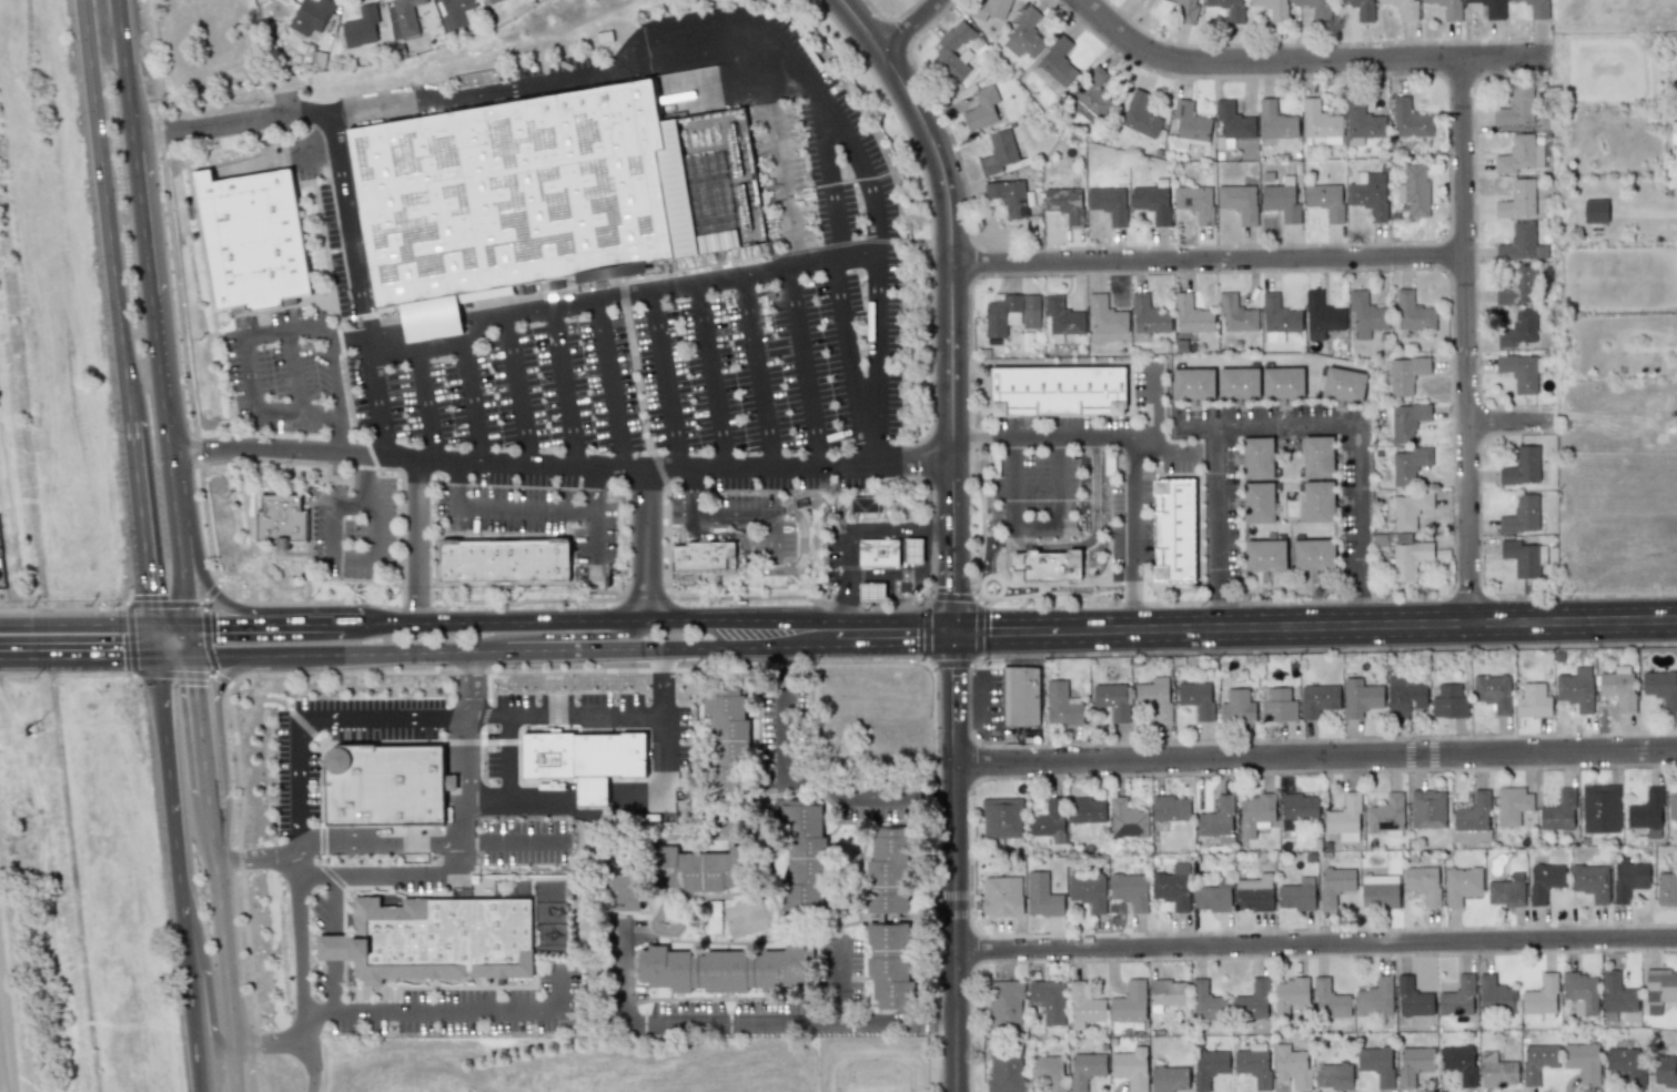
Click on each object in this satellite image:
building: (1135, 0)
building: (487, 1)
building: (1315, 8)
building: (1360, 8)
building: (1447, 8)
building: (1491, 8)
building: (1535, 8)
building: (989, 9)
building: (1229, 9)
building: (1404, 9)
building: (1186, 10)
building: (1273, 10)
building: (453, 12)
building: (311, 16)
building: (403, 17)
road: (911, 26)
building: (360, 28)
road: (119, 32)
building: (1023, 34)
building: (952, 51)
building: (1057, 61)
road: (1307, 61)
road: (448, 93)
building: (1090, 97)
road: (127, 99)
building: (1516, 107)
building: (981, 108)
building: (1139, 114)
building: (1410, 120)
building: (1190, 121)
building: (1233, 121)
building: (1275, 121)
building: (1363, 123)
building: (1320, 124)
road: (848, 133)
building: (1674, 135)
building: (999, 152)
building: (1519, 154)
road: (782, 155)
road: (832, 170)
building: (511, 188)
building: (1414, 190)
building: (1368, 194)
building: (1008, 196)
building: (1195, 198)
building: (1325, 200)
building: (1517, 200)
building: (1280, 201)
building: (1151, 202)
building: (1239, 202)
building: (1108, 203)
building: (1064, 204)
road: (929, 209)
building: (1595, 211)
road: (140, 213)
road: (350, 229)
building: (250, 233)
road: (1474, 239)
building: (1521, 243)
road: (1208, 261)
road: (693, 269)
building: (1517, 286)
road: (115, 295)
road: (282, 301)
road: (620, 301)
building: (1030, 311)
building: (1412, 312)
building: (1235, 314)
building: (1364, 314)
building: (1001, 315)
building: (1105, 315)
building: (1148, 315)
building: (1191, 315)
building: (1321, 315)
building: (1061, 316)
road: (336, 327)
building: (1517, 328)
road: (877, 334)
road: (1466, 340)
parking lot: (693, 350)
road: (849, 364)
parking lot: (281, 367)
road: (804, 368)
road: (758, 372)
building: (1519, 372)
building: (1405, 374)
road: (296, 375)
road: (709, 377)
road: (665, 381)
building: (1193, 383)
building: (1237, 383)
building: (1282, 383)
road: (159, 384)
building: (1343, 384)
road: (608, 385)
road: (563, 388)
building: (1058, 390)
road: (516, 392)
road: (469, 395)
road: (424, 398)
road: (1152, 401)
road: (377, 402)
road: (1451, 403)
railway: (20, 413)
road: (339, 414)
road: (1036, 414)
road: (1513, 419)
building: (1404, 421)
road: (1481, 421)
road: (1289, 424)
road: (1195, 425)
road: (970, 436)
road: (345, 438)
road: (647, 438)
road: (1071, 438)
building: (1317, 456)
building: (1257, 457)
road: (558, 463)
building: (1410, 464)
road: (356, 466)
building: (1522, 466)
road: (1479, 474)
road: (362, 477)
road: (455, 481)
road: (1012, 482)
road: (1058, 482)
parking lot: (1032, 485)
road: (592, 487)
road: (1220, 499)
road: (1362, 499)
road: (352, 501)
building: (1317, 502)
building: (1257, 503)
building: (865, 504)
road: (524, 506)
road: (1135, 508)
building: (1406, 508)
parking lot: (534, 513)
road: (1198, 515)
building: (1521, 515)
road: (728, 517)
parking lot: (1131, 517)
building: (280, 518)
parking lot: (762, 523)
road: (1036, 526)
road: (1153, 526)
building: (1174, 528)
road: (330, 529)
road: (374, 529)
road: (952, 530)
parking lot: (354, 532)
road: (553, 532)
road: (1093, 534)
road: (415, 538)
road: (840, 538)
road: (595, 540)
road: (645, 543)
road: (176, 548)
road: (309, 550)
building: (912, 550)
road: (292, 552)
building: (878, 552)
building: (1313, 554)
building: (1264, 555)
building: (703, 557)
building: (1521, 557)
road: (352, 558)
building: (1408, 558)
building: (503, 559)
building: (1047, 565)
road: (1084, 566)
road: (736, 567)
road: (771, 569)
road: (1478, 575)
road: (213, 577)
power substation: (1, 578)
road: (1059, 583)
building: (871, 591)
road: (952, 591)
road: (641, 594)
road: (1222, 598)
road: (1366, 598)
road: (1136, 601)
road: (162, 603)
road: (861, 604)
road: (149, 606)
road: (240, 607)
road: (69, 608)
road: (593, 618)
road: (75, 619)
traffic signals: (151, 620)
road: (168, 621)
traffic signals: (184, 623)
road: (263, 623)
road: (1260, 623)
road: (979, 626)
road: (922, 630)
road: (203, 634)
road: (564, 635)
road: (153, 637)
road: (124, 639)
road: (516, 648)
road: (78, 650)
traffic signals: (155, 654)
road: (172, 654)
traffic signals: (189, 655)
road: (784, 659)
road: (950, 663)
road: (619, 667)
road: (171, 674)
road: (132, 675)
road: (663, 679)
building: (1618, 687)
building: (1576, 688)
building: (1661, 688)
building: (1493, 691)
building: (1021, 696)
building: (1404, 696)
building: (1154, 697)
building: (1360, 697)
building: (1195, 698)
road: (968, 699)
building: (1317, 699)
building: (1113, 700)
road: (279, 701)
building: (1448, 701)
building: (1533, 701)
road: (486, 705)
building: (1061, 705)
building: (1237, 705)
building: (1277, 705)
road: (194, 707)
road: (565, 715)
road: (216, 716)
road: (306, 717)
building: (726, 718)
parking lot: (782, 731)
road: (784, 731)
road: (501, 740)
road: (324, 742)
building: (583, 755)
road: (1315, 757)
road: (166, 774)
road: (645, 780)
road: (802, 781)
road: (1199, 782)
building: (384, 783)
parking lot: (295, 788)
building: (590, 791)
parking lot: (876, 793)
road: (870, 797)
road: (937, 797)
building: (1671, 803)
building: (1513, 805)
building: (1170, 808)
building: (1297, 808)
building: (1427, 808)
building: (1599, 808)
building: (1087, 809)
building: (1558, 812)
building: (1255, 813)
building: (1647, 813)
building: (1385, 815)
building: (1001, 817)
building: (1127, 819)
building: (1344, 819)
building: (1473, 819)
building: (1218, 820)
building: (1049, 821)
road: (297, 852)
building: (802, 853)
road: (969, 855)
road: (462, 861)
building: (697, 870)
building: (888, 871)
building: (1628, 878)
building: (1544, 881)
building: (1590, 881)
building: (1423, 883)
railway: (74, 884)
building: (1462, 884)
building: (1334, 886)
building: (1172, 887)
building: (1087, 889)
building: (1666, 889)
road: (342, 890)
building: (625, 890)
building: (1129, 890)
building: (1506, 890)
building: (1380, 891)
building: (1254, 893)
building: (1001, 896)
building: (1041, 896)
building: (1295, 897)
building: (1211, 898)
road: (220, 918)
building: (442, 938)
road: (1315, 944)
building: (889, 964)
building: (726, 969)
road: (622, 970)
road: (204, 971)
road: (840, 979)
building: (1660, 984)
road: (191, 992)
building: (1580, 992)
building: (1166, 993)
building: (1616, 993)
building: (1289, 995)
building: (1495, 995)
building: (1457, 997)
building: (1374, 998)
building: (1540, 998)
building: (1049, 999)
building: (1413, 999)
building: (1330, 1000)
building: (1252, 1001)
building: (1129, 1002)
building: (1206, 1002)
building: (1004, 1004)
building: (1084, 1007)
road: (453, 1011)
road: (893, 1019)
road: (728, 1020)
road: (295, 1028)
road: (293, 1039)
building: (1537, 1061)
building: (1583, 1061)
park: (871, 1063)
building: (1458, 1063)
building: (1627, 1063)
building: (1376, 1064)
building: (1413, 1064)
building: (1208, 1066)
building: (1292, 1066)
road: (233, 1068)
building: (1130, 1068)
building: (1085, 1069)
building: (1496, 1070)
building: (1006, 1071)
building: (1049, 1071)
building: (1665, 1071)
building: (1333, 1075)
building: (1169, 1079)

